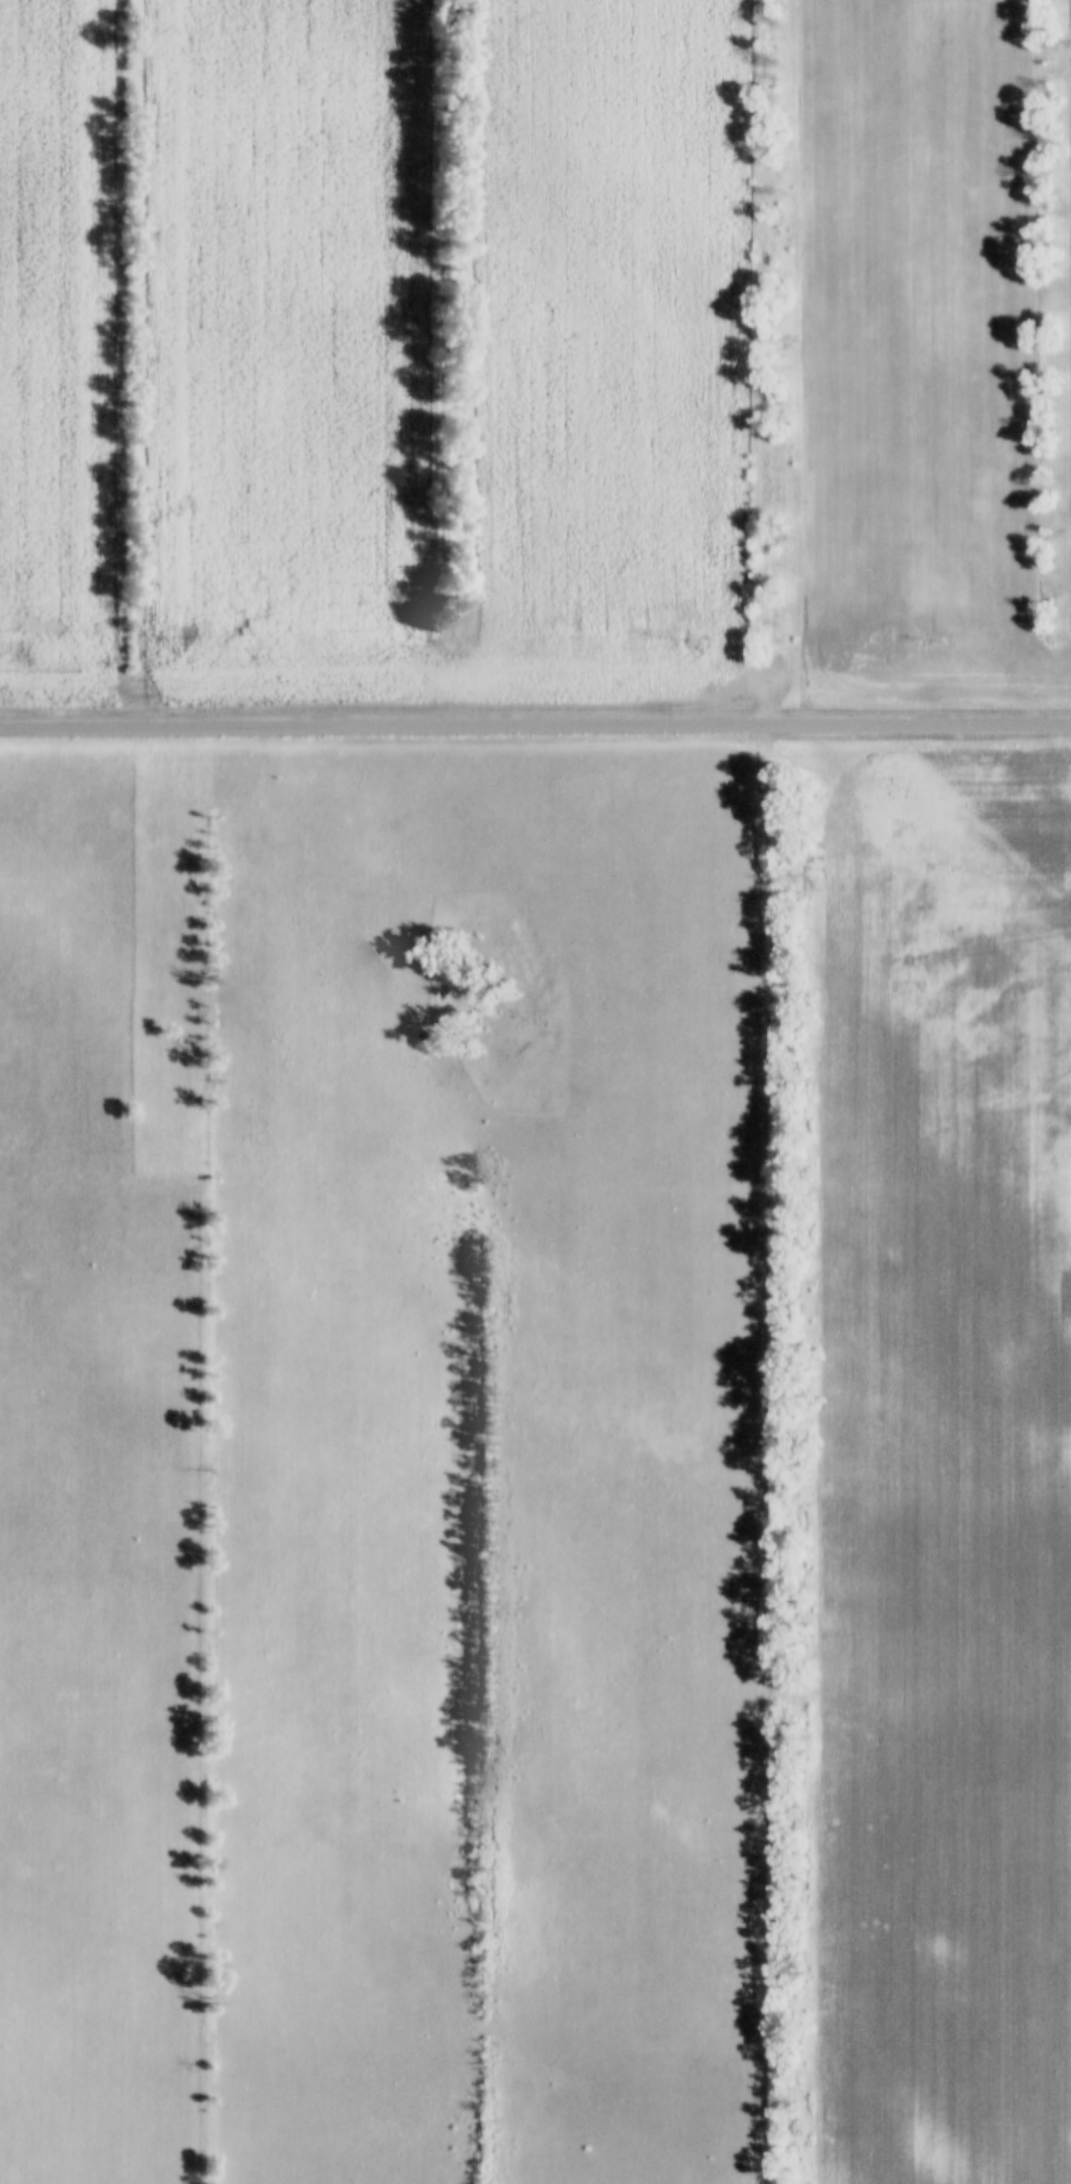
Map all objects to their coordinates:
road: (535, 728)

